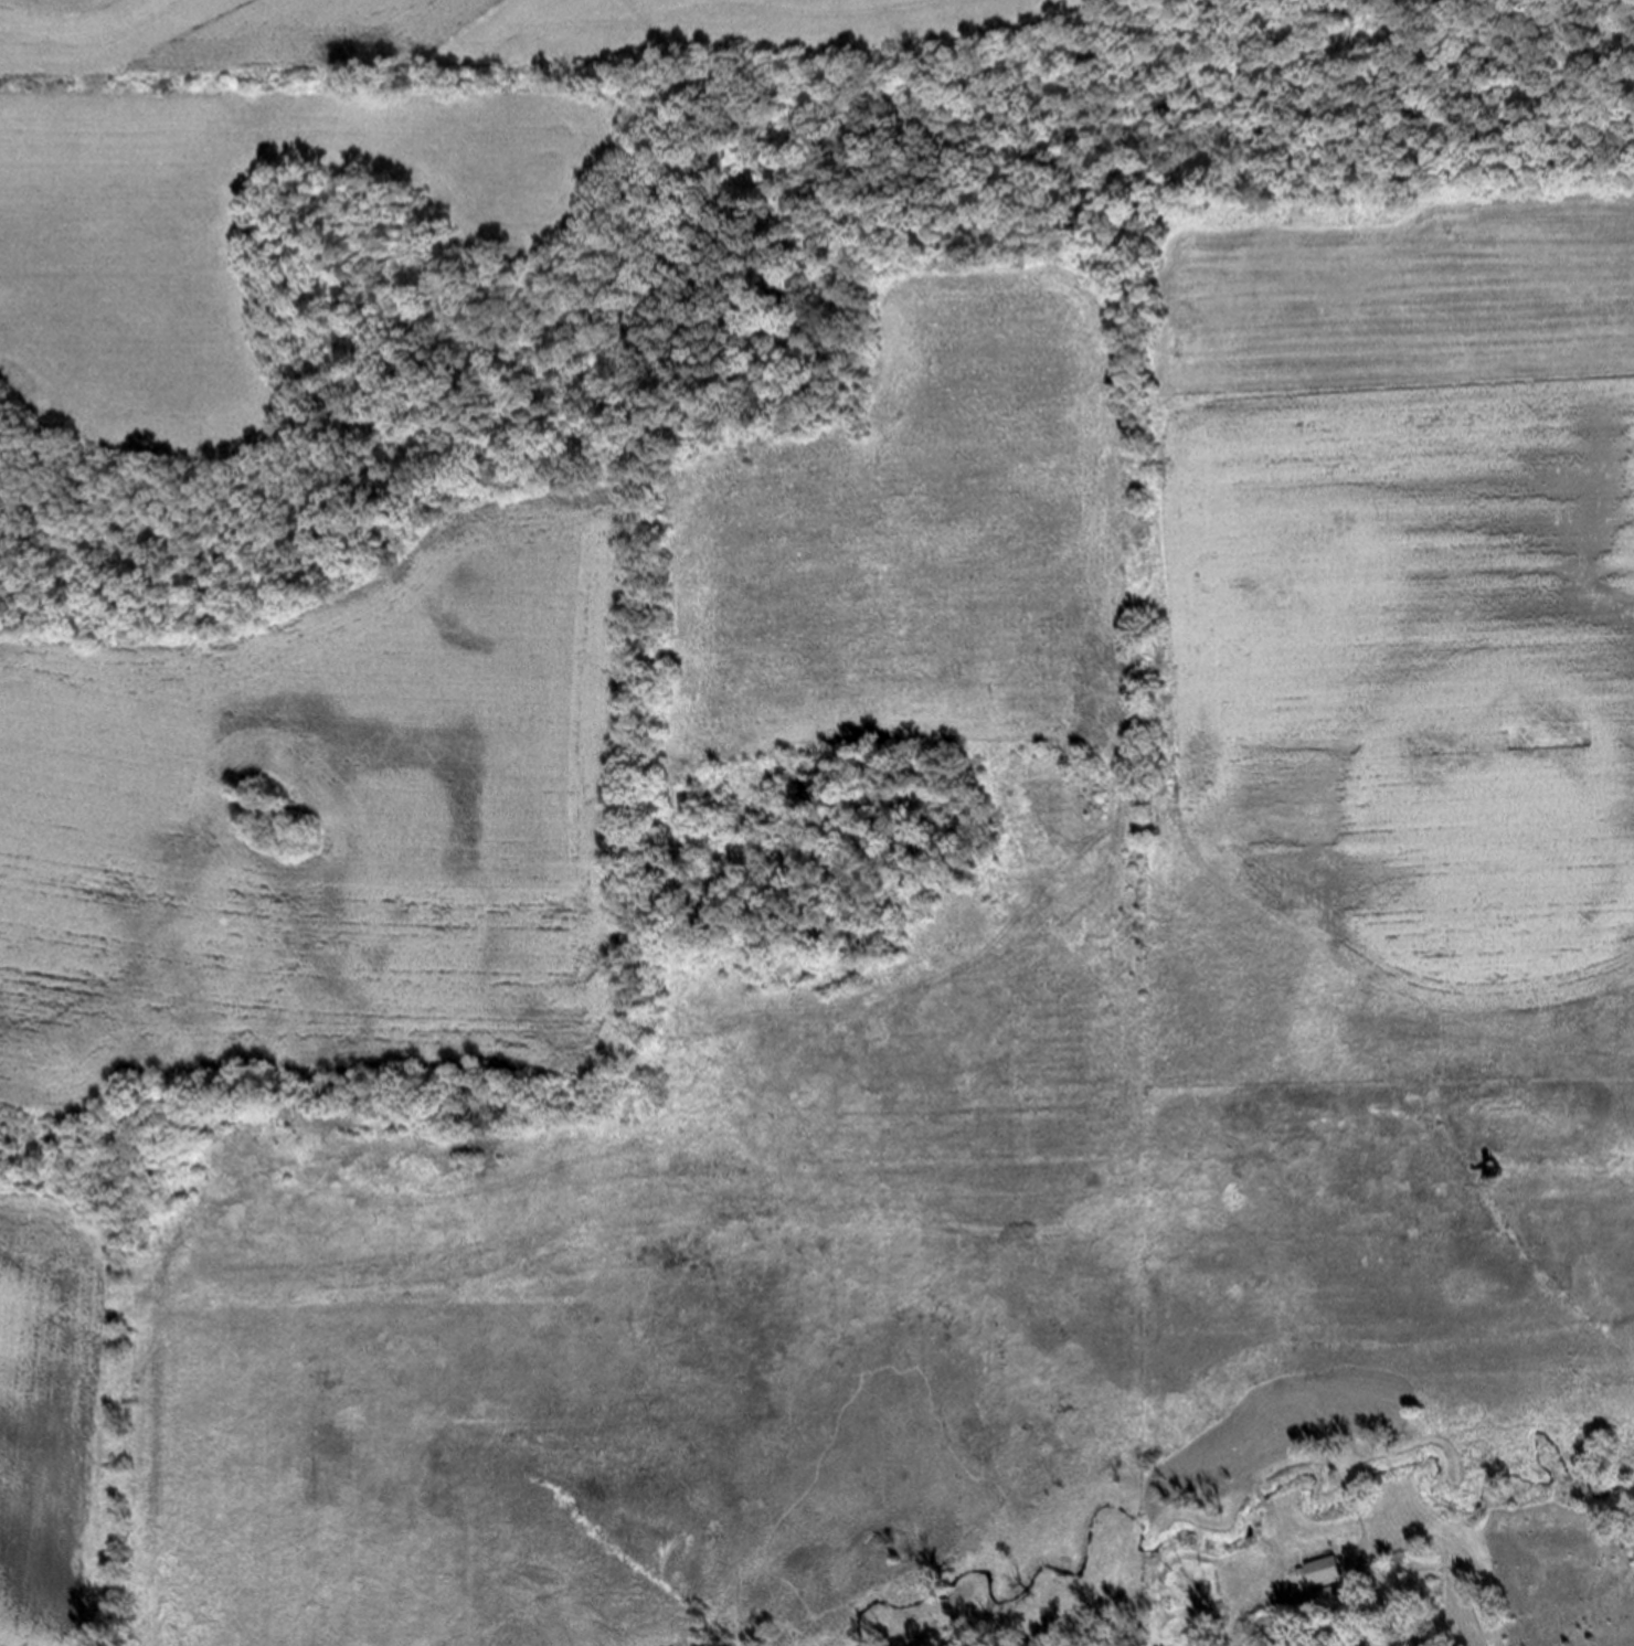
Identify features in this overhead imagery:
road: (1559, 20)
building: (1317, 1571)

